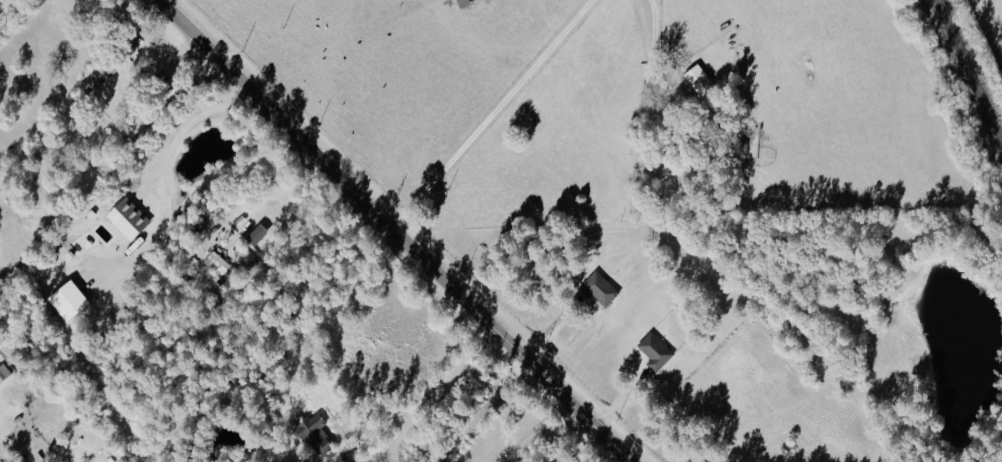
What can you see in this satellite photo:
road: (655, 56)
railway: (967, 76)
building: (699, 80)
road: (490, 114)
building: (740, 146)
building: (672, 162)
road: (165, 182)
building: (128, 218)
road: (391, 229)
building: (85, 240)
building: (222, 269)
building: (598, 290)
road: (554, 333)
building: (655, 351)
building: (4, 372)
road: (427, 395)
building: (314, 434)
road: (582, 446)

